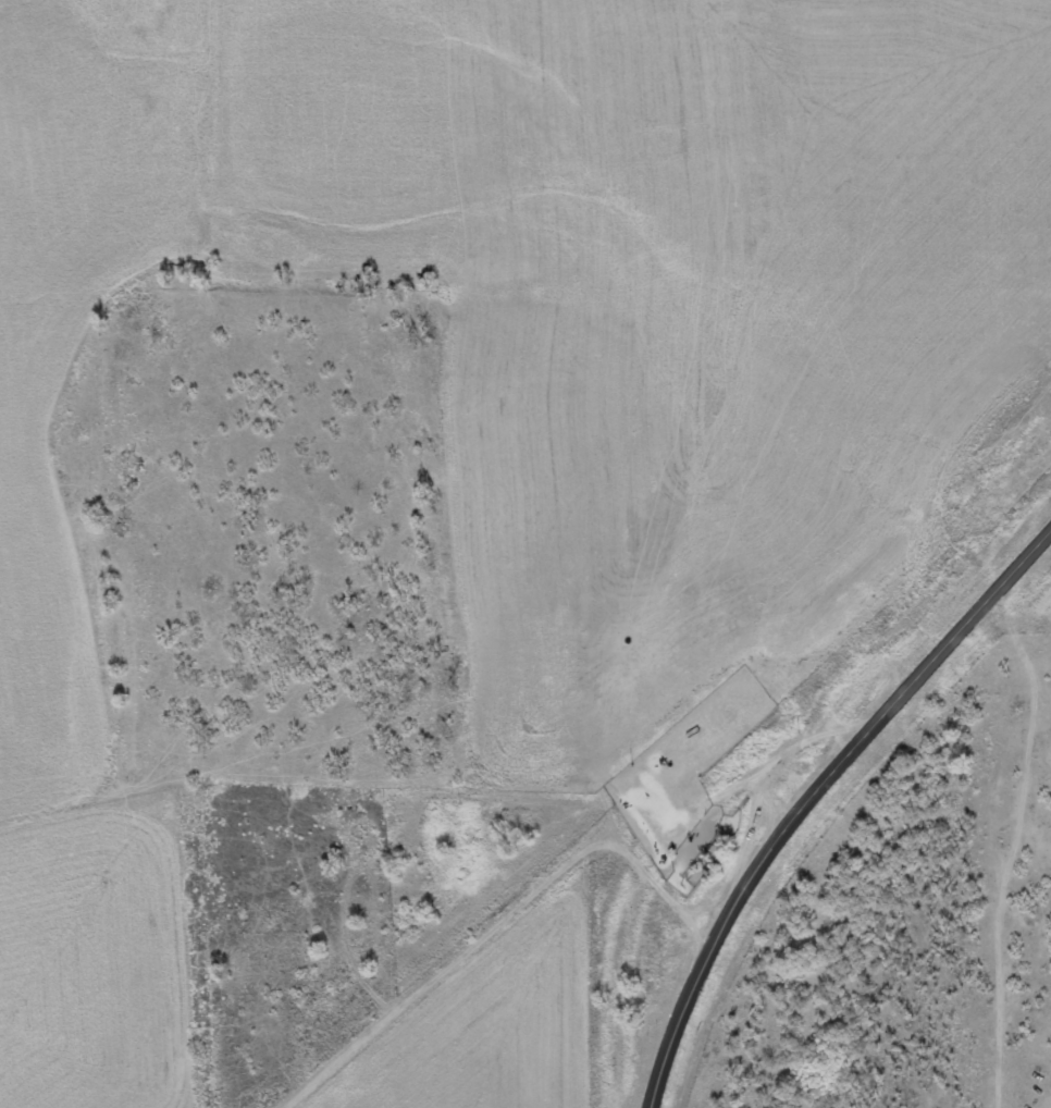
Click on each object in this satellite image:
railway: (673, 754)
road: (816, 799)
road: (630, 841)

